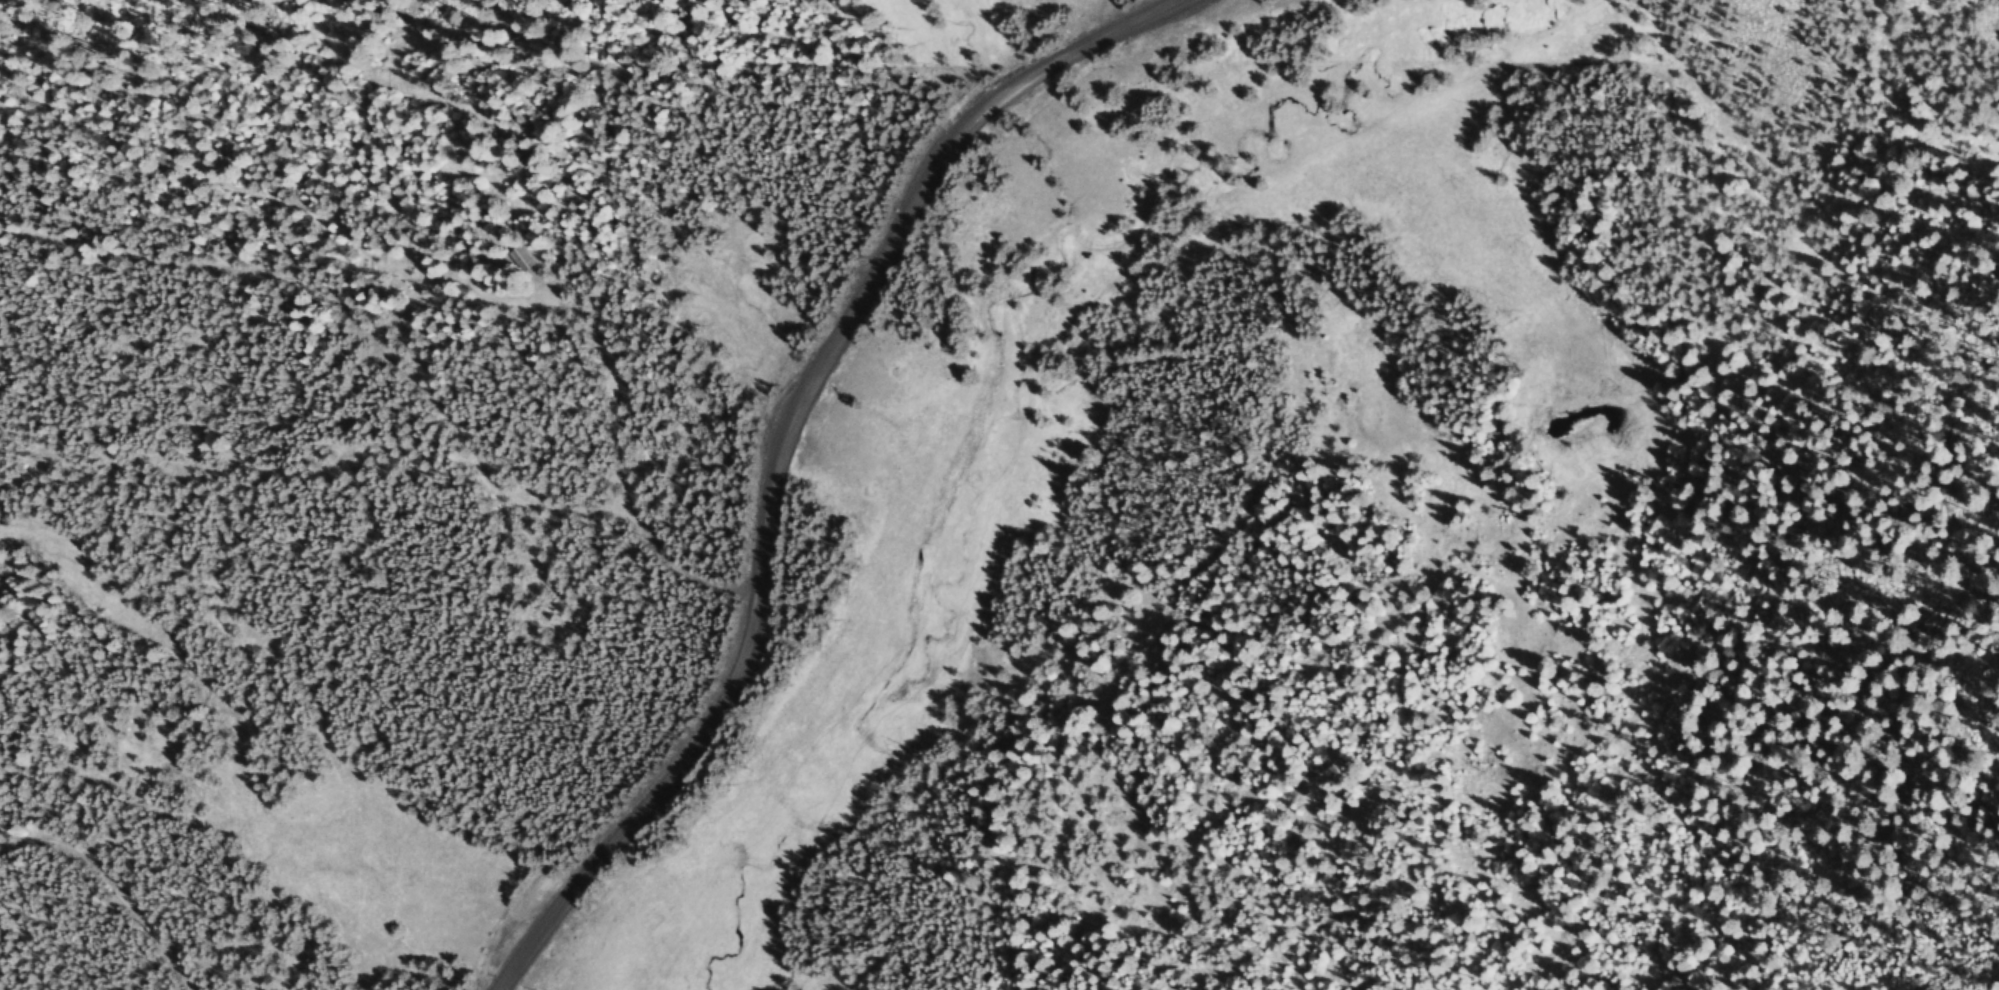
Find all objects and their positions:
building: (526, 259)
road: (784, 453)
road: (115, 881)

